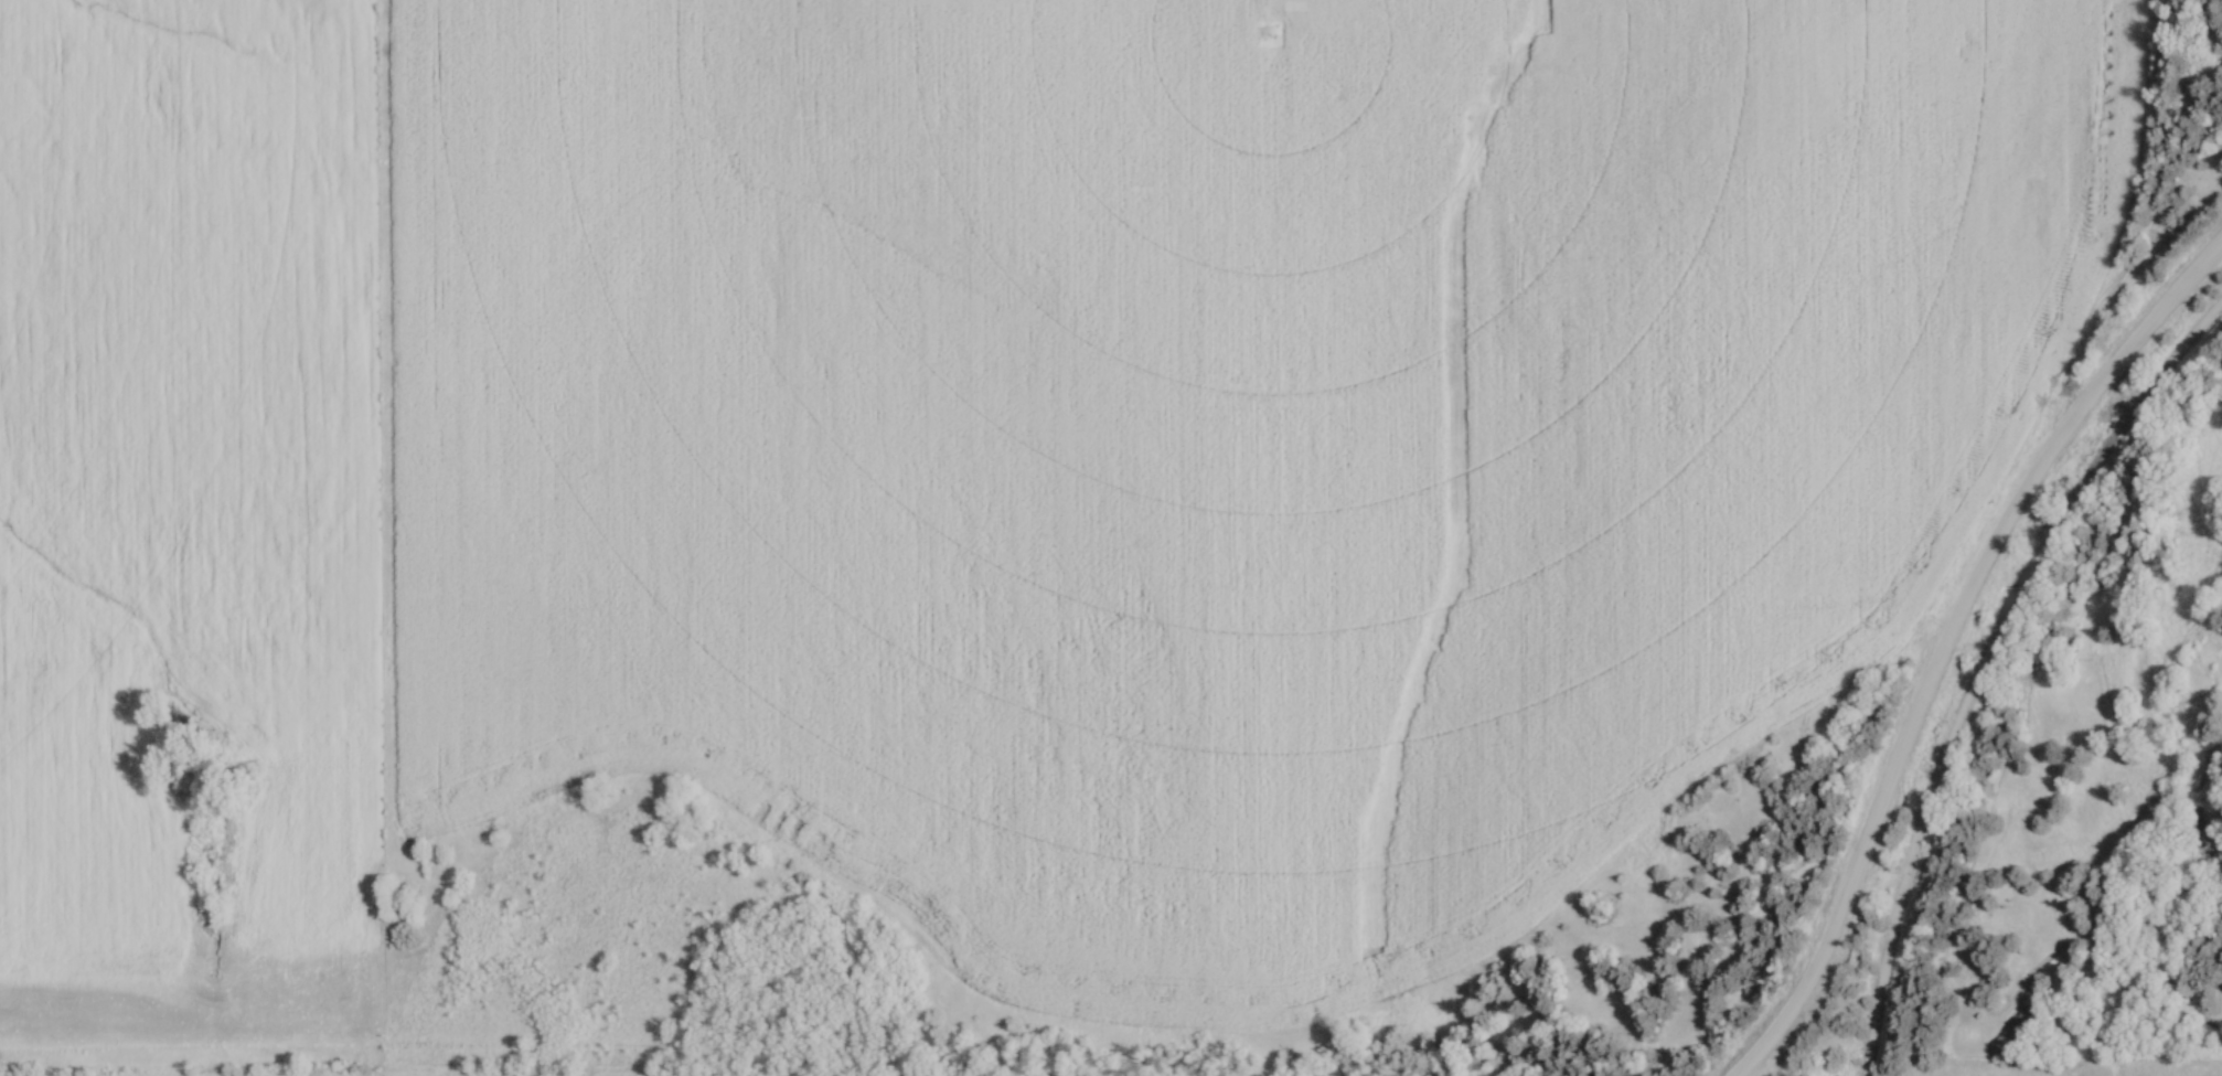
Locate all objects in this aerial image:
road: (1945, 640)
road: (1983, 659)

